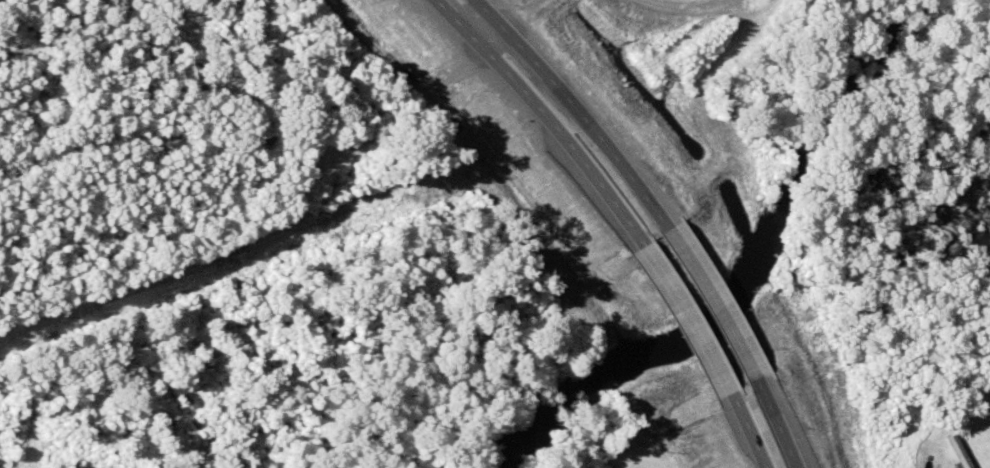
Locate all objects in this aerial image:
road: (484, 34)
road: (572, 112)
road: (546, 117)
road: (711, 306)
road: (688, 322)
road: (773, 425)
road: (743, 432)
building: (957, 452)

